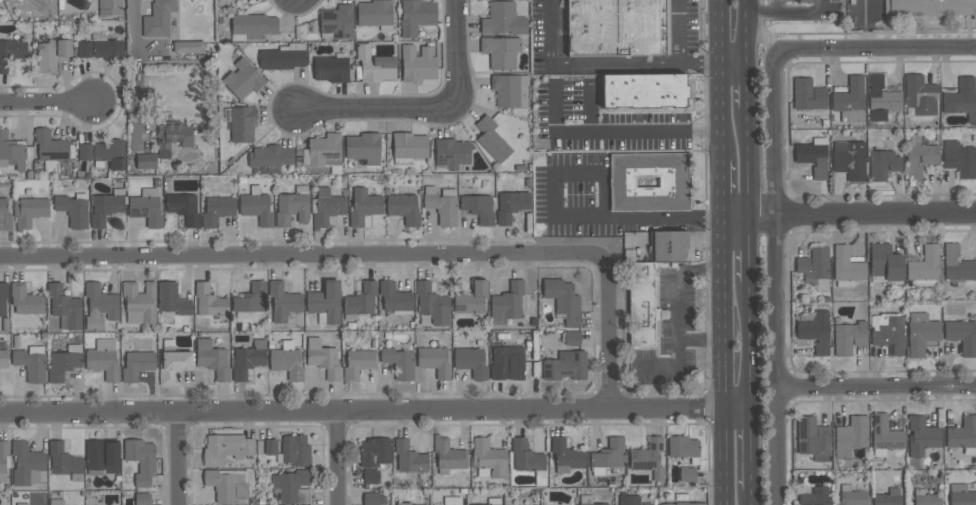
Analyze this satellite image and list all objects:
building: (804, 1)
road: (819, 5)
road: (775, 6)
building: (109, 7)
building: (933, 7)
gas station: (802, 10)
road: (783, 12)
building: (375, 14)
building: (416, 16)
building: (158, 18)
building: (503, 19)
building: (337, 22)
road: (863, 25)
building: (251, 26)
building: (618, 27)
road: (747, 30)
road: (549, 31)
building: (188, 47)
building: (107, 48)
building: (85, 49)
road: (683, 49)
road: (877, 49)
building: (11, 51)
building: (500, 51)
building: (51, 54)
building: (283, 57)
road: (616, 61)
road: (735, 61)
building: (417, 63)
building: (374, 65)
road: (135, 66)
building: (332, 68)
building: (243, 78)
road: (722, 79)
road: (748, 84)
building: (508, 89)
building: (644, 92)
building: (808, 94)
building: (920, 95)
building: (961, 98)
building: (881, 99)
road: (49, 100)
building: (850, 100)
road: (425, 108)
building: (241, 122)
road: (614, 130)
building: (172, 136)
building: (492, 139)
building: (363, 147)
building: (408, 147)
building: (50, 149)
building: (322, 150)
building: (13, 151)
building: (104, 152)
building: (451, 153)
building: (813, 156)
building: (919, 156)
building: (270, 157)
building: (959, 158)
building: (849, 159)
building: (146, 161)
road: (750, 163)
building: (883, 164)
building: (674, 182)
road: (724, 189)
building: (442, 205)
building: (106, 206)
building: (256, 206)
building: (293, 206)
building: (363, 206)
building: (511, 206)
building: (146, 207)
building: (183, 207)
building: (326, 207)
building: (404, 208)
building: (478, 208)
building: (73, 209)
building: (217, 210)
building: (29, 211)
building: (4, 214)
road: (850, 216)
road: (596, 217)
building: (669, 244)
road: (751, 249)
road: (383, 254)
building: (885, 262)
building: (925, 264)
building: (957, 265)
building: (846, 267)
building: (815, 268)
road: (776, 279)
building: (3, 297)
building: (395, 298)
building: (471, 298)
building: (25, 299)
building: (563, 300)
building: (171, 301)
building: (250, 301)
building: (283, 301)
building: (360, 301)
building: (139, 302)
building: (325, 302)
building: (211, 303)
building: (508, 303)
building: (433, 304)
building: (642, 305)
building: (99, 306)
building: (65, 308)
road: (675, 312)
building: (815, 331)
building: (888, 332)
building: (921, 333)
building: (962, 335)
building: (571, 337)
building: (849, 337)
road: (701, 339)
road: (752, 345)
building: (213, 356)
building: (4, 358)
building: (323, 358)
building: (103, 359)
building: (247, 359)
building: (287, 360)
building: (435, 360)
building: (471, 361)
building: (64, 362)
building: (172, 362)
building: (400, 362)
building: (506, 362)
road: (726, 362)
building: (31, 363)
building: (358, 364)
building: (137, 365)
building: (565, 366)
road: (877, 384)
road: (376, 412)
building: (962, 434)
building: (851, 435)
building: (885, 435)
building: (921, 435)
building: (813, 438)
building: (270, 446)
building: (225, 448)
building: (683, 448)
road: (753, 449)
building: (294, 451)
building: (375, 451)
building: (448, 455)
building: (565, 455)
building: (102, 456)
building: (607, 456)
building: (409, 457)
building: (648, 457)
road: (340, 458)
building: (4, 459)
road: (178, 459)
building: (488, 459)
building: (141, 460)
building: (528, 460)
building: (64, 461)
building: (27, 463)
building: (687, 474)
building: (371, 476)
building: (228, 485)
building: (292, 486)
building: (813, 495)
building: (961, 495)
building: (852, 496)
road: (754, 497)
building: (888, 497)
building: (926, 497)
building: (142, 498)
building: (373, 499)
building: (452, 500)
building: (587, 500)
building: (631, 500)
building: (57, 502)
building: (403, 503)
building: (684, 503)
building: (22, 504)
building: (412, 504)
building: (490, 504)

